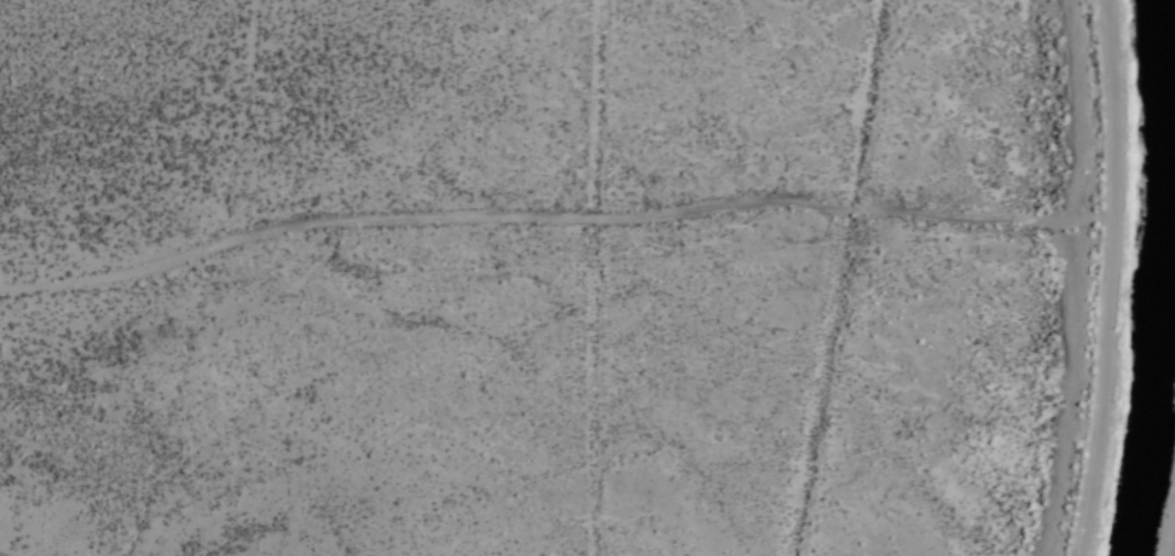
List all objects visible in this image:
road: (555, 216)
road: (1116, 278)

